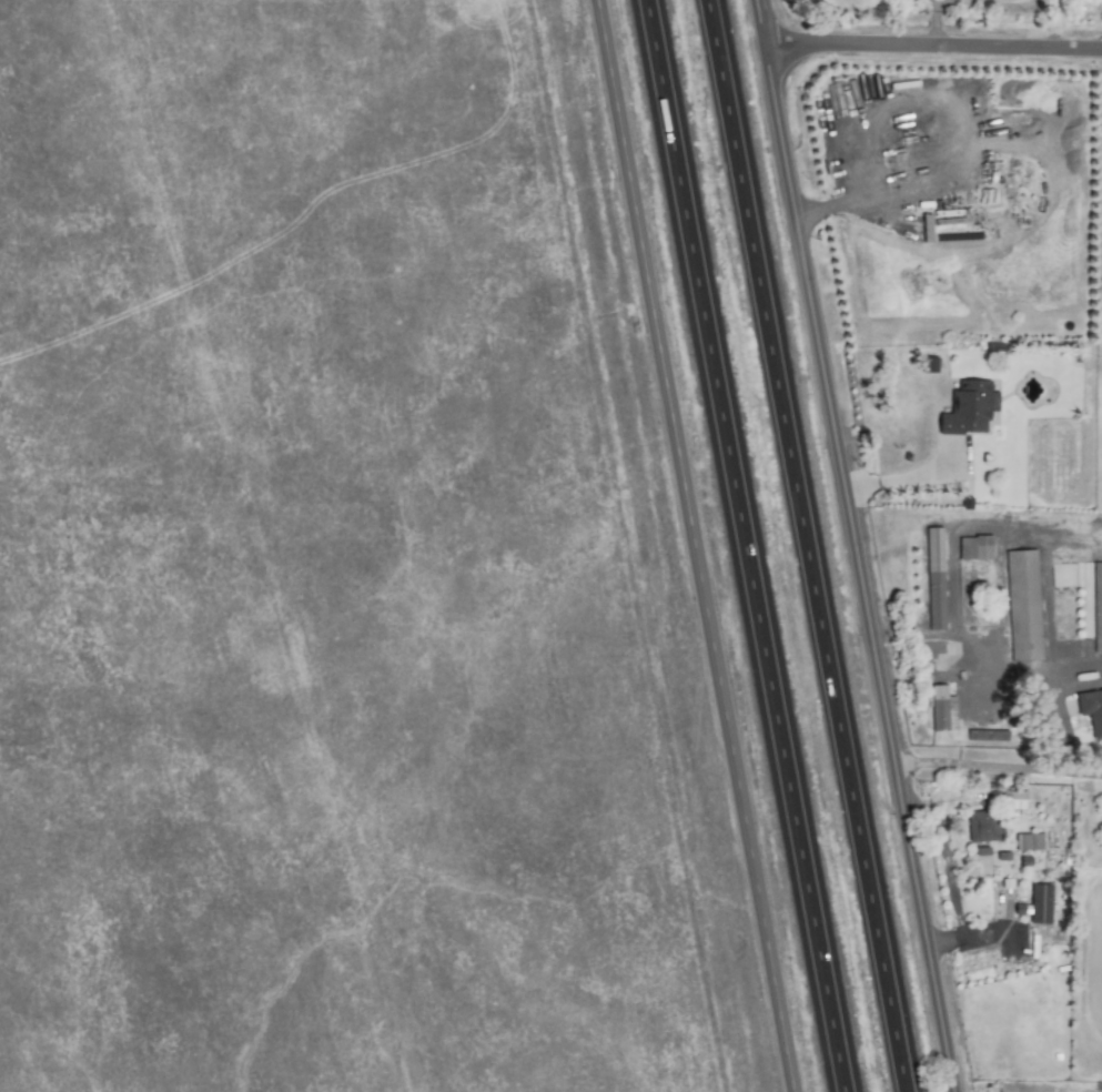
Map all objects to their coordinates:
road: (931, 42)
road: (941, 101)
building: (968, 407)
road: (909, 482)
road: (957, 530)
road: (803, 545)
railway: (646, 546)
road: (687, 546)
road: (742, 546)
road: (852, 546)
building: (973, 547)
building: (934, 577)
building: (1022, 604)
building: (1096, 605)
road: (989, 666)
building: (941, 708)
building: (1091, 709)
road: (999, 764)
building: (1013, 799)
building: (982, 825)
building: (1028, 840)
building: (982, 856)
road: (948, 865)
building: (1039, 902)

